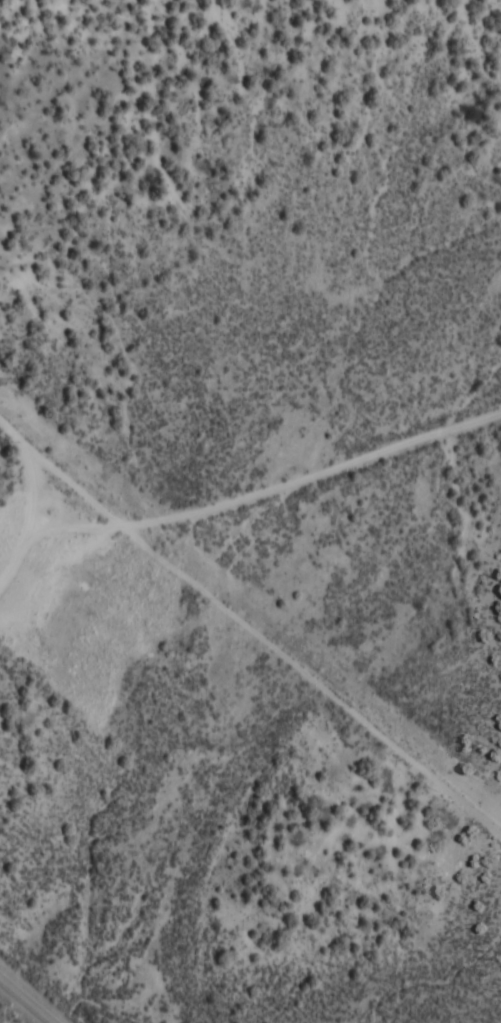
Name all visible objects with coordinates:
road: (36, 459)
road: (273, 487)
road: (21, 554)
road: (267, 635)
road: (28, 998)

